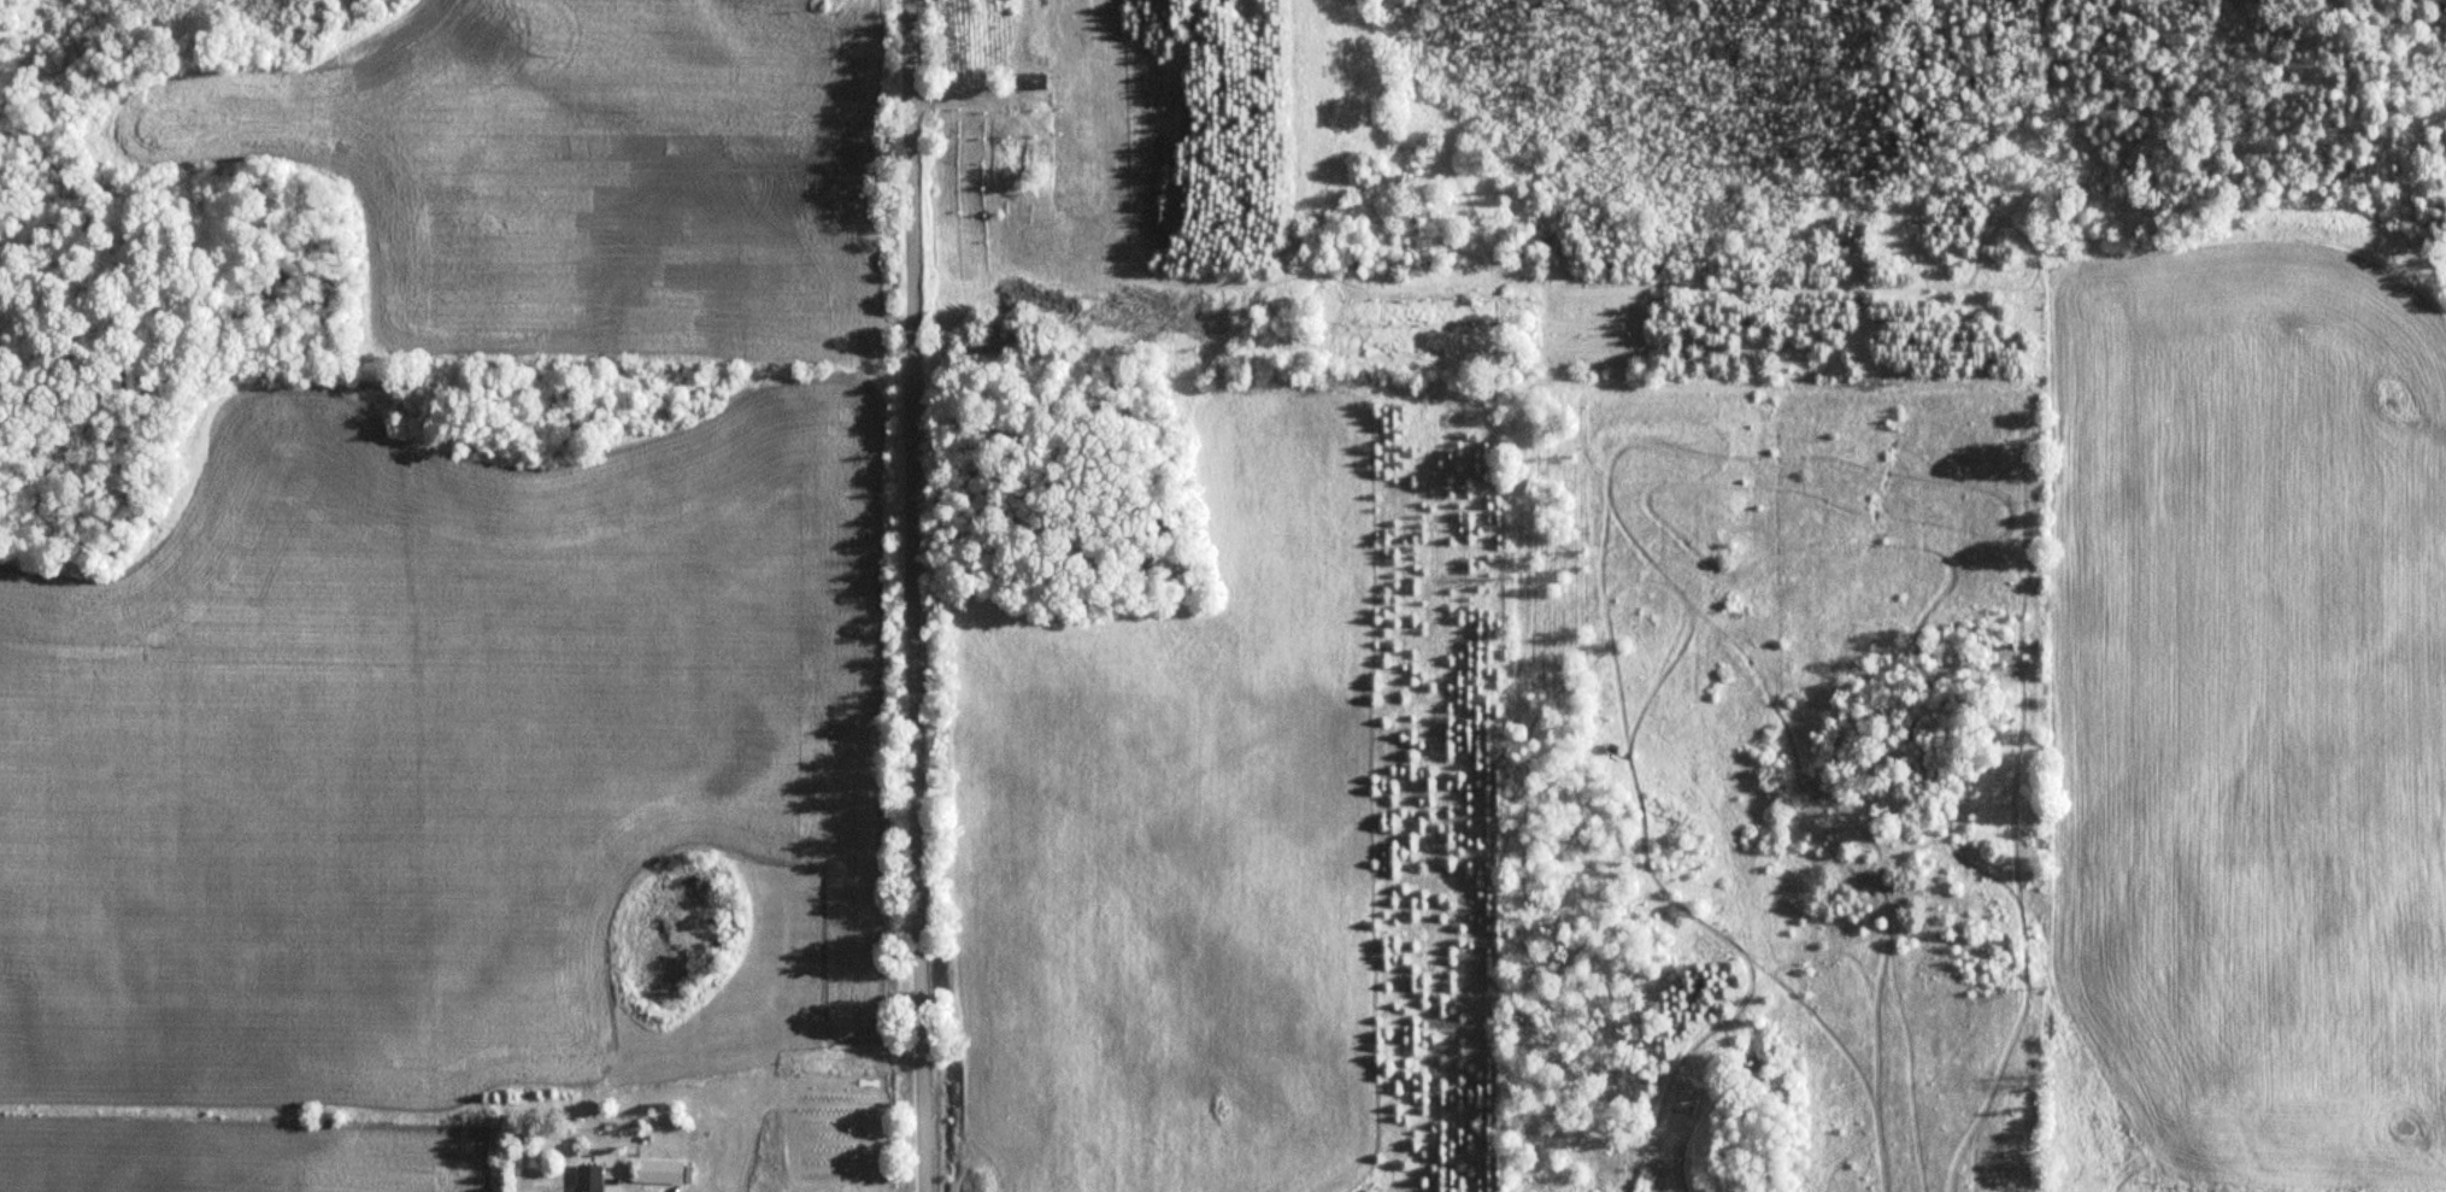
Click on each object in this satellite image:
building: (1031, 81)
road: (912, 595)
building: (658, 1170)
building: (587, 1178)

